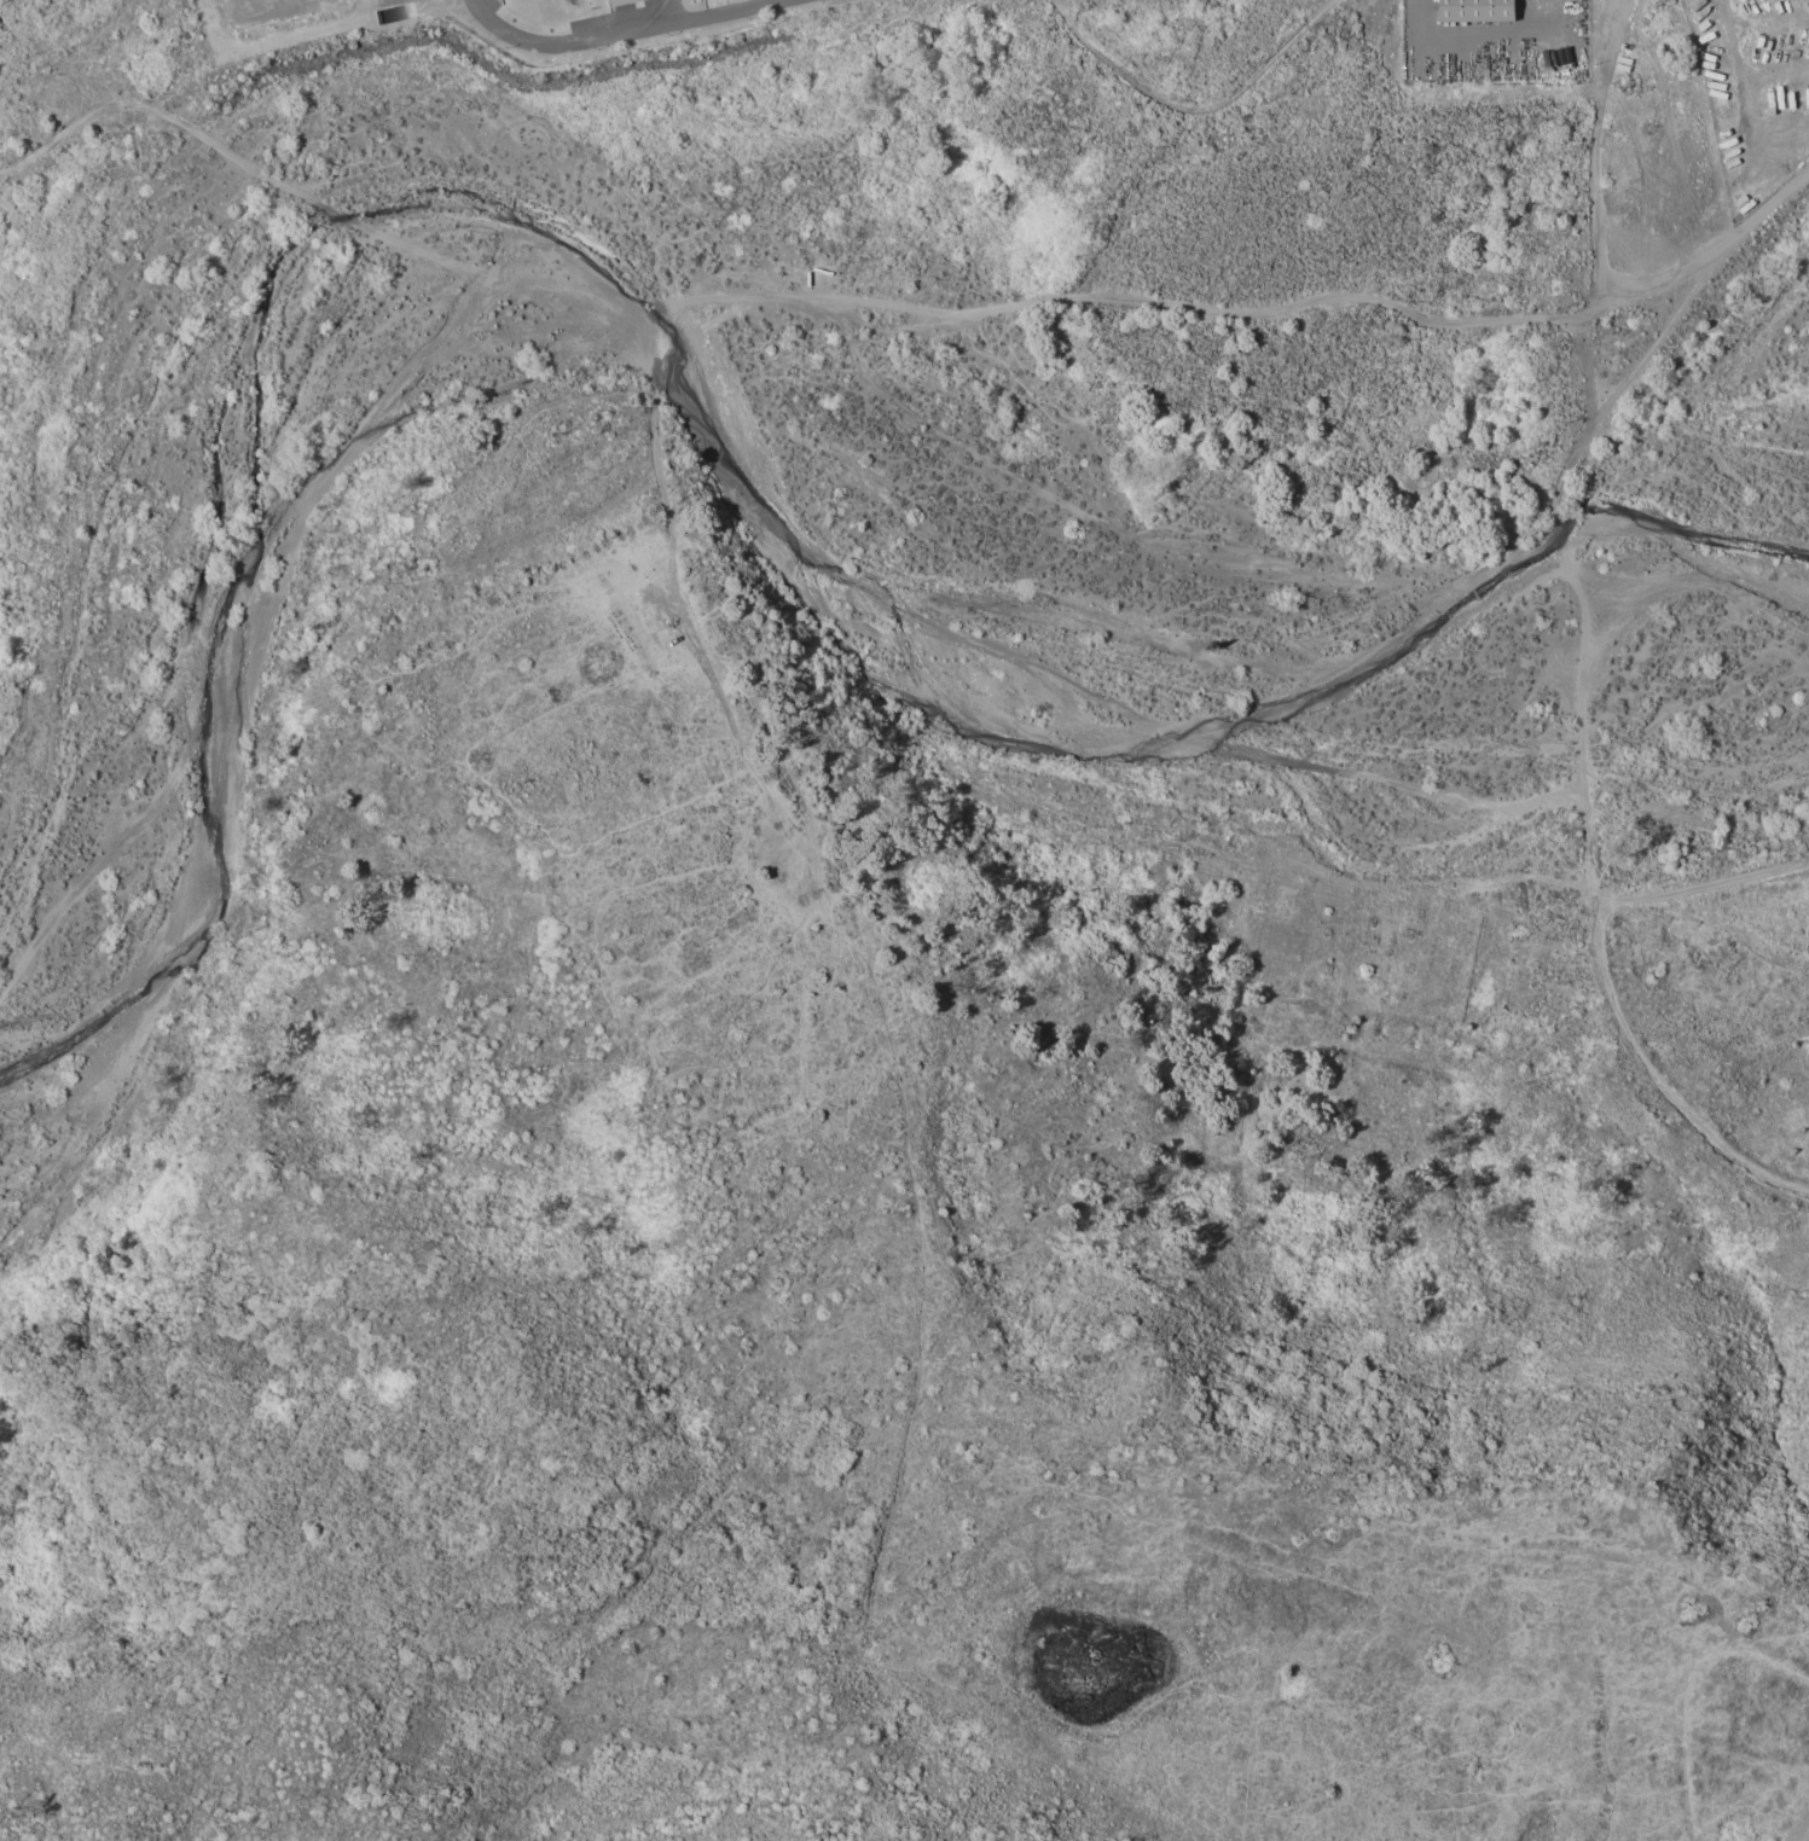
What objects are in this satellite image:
building: (625, 2)
building: (1471, 11)
wastewater plant: (479, 23)
road: (630, 33)
road: (314, 40)
road: (1506, 41)
road: (1740, 99)
road: (1198, 106)
road: (1591, 150)
road: (1315, 312)
road: (1566, 591)

